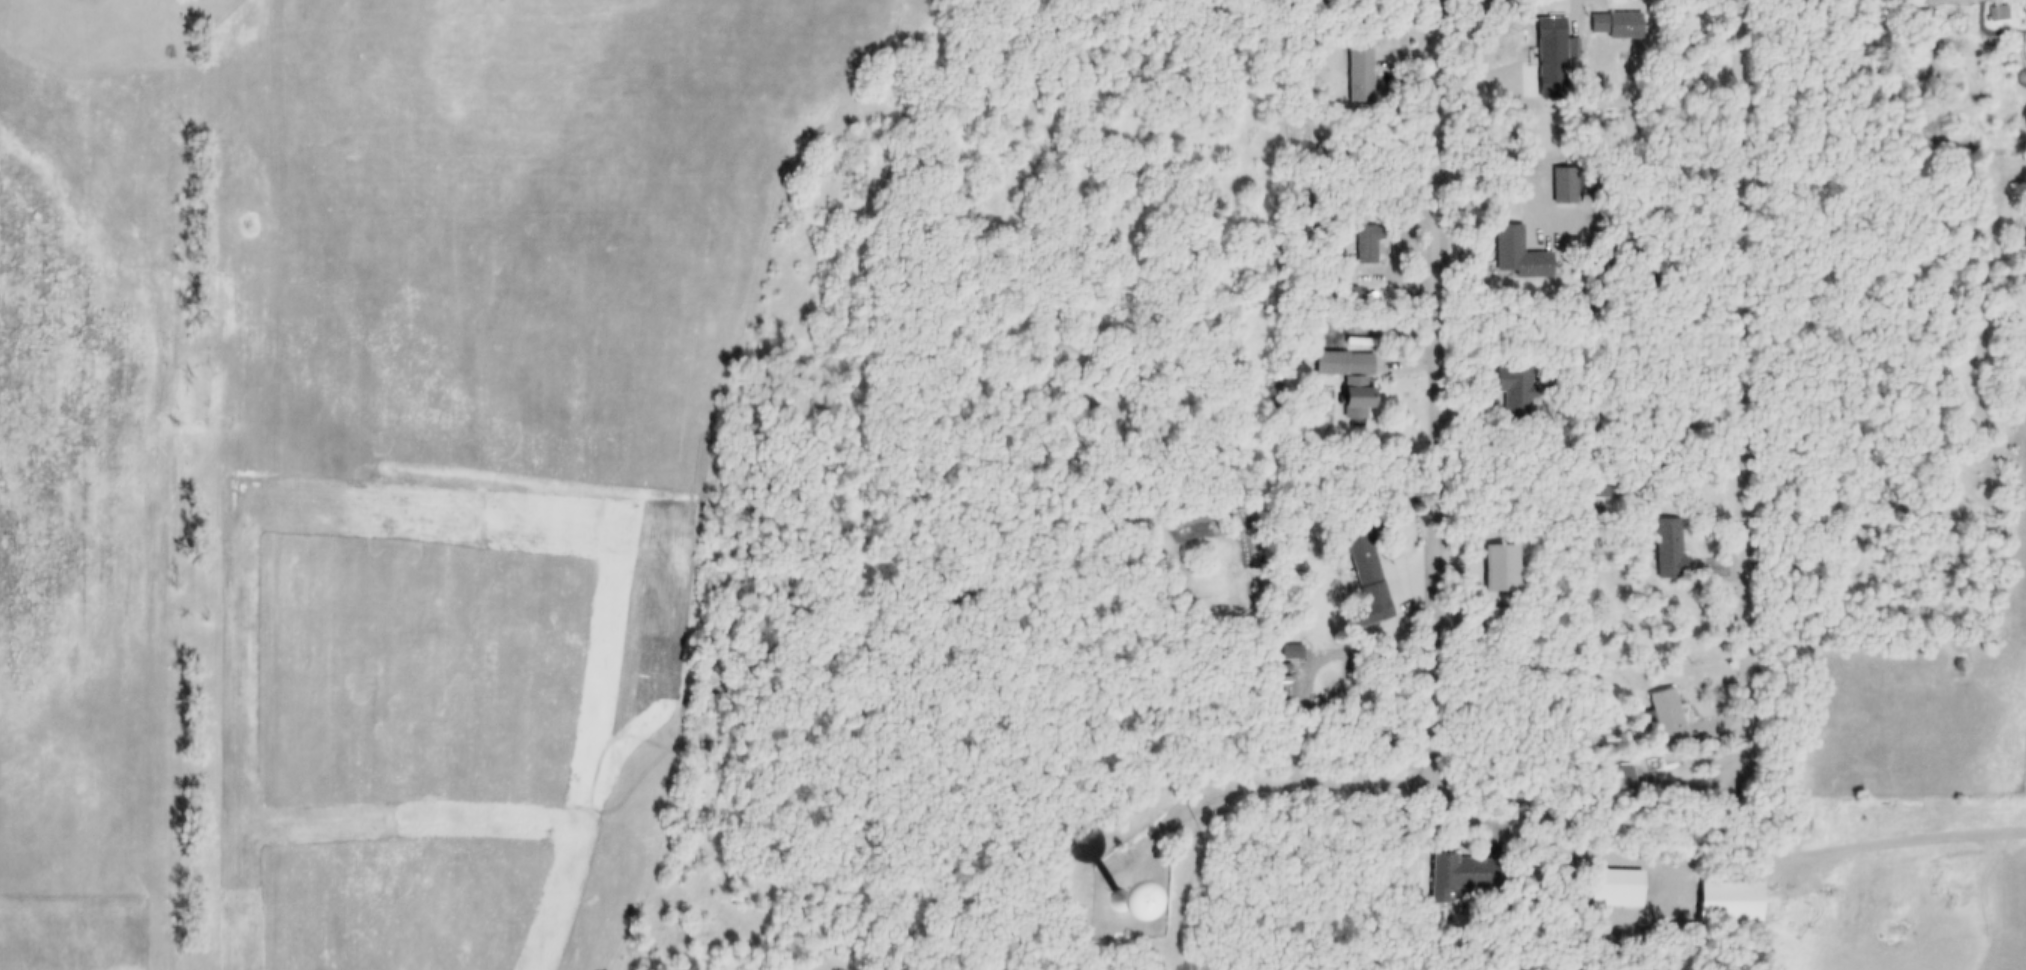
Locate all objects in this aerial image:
building: (1999, 14)
road: (1584, 18)
building: (1620, 26)
building: (1557, 36)
building: (1363, 77)
building: (1530, 109)
building: (1568, 187)
building: (1368, 246)
building: (1522, 256)
road: (1748, 367)
building: (1355, 382)
road: (1438, 388)
building: (1521, 392)
building: (1672, 548)
building: (1365, 560)
building: (1295, 653)
building: (1672, 722)
building: (1626, 781)
road: (1251, 791)
road: (1902, 837)
building: (1472, 876)
building: (1622, 889)
water tower: (1110, 898)
building: (1734, 903)
building: (1128, 909)

